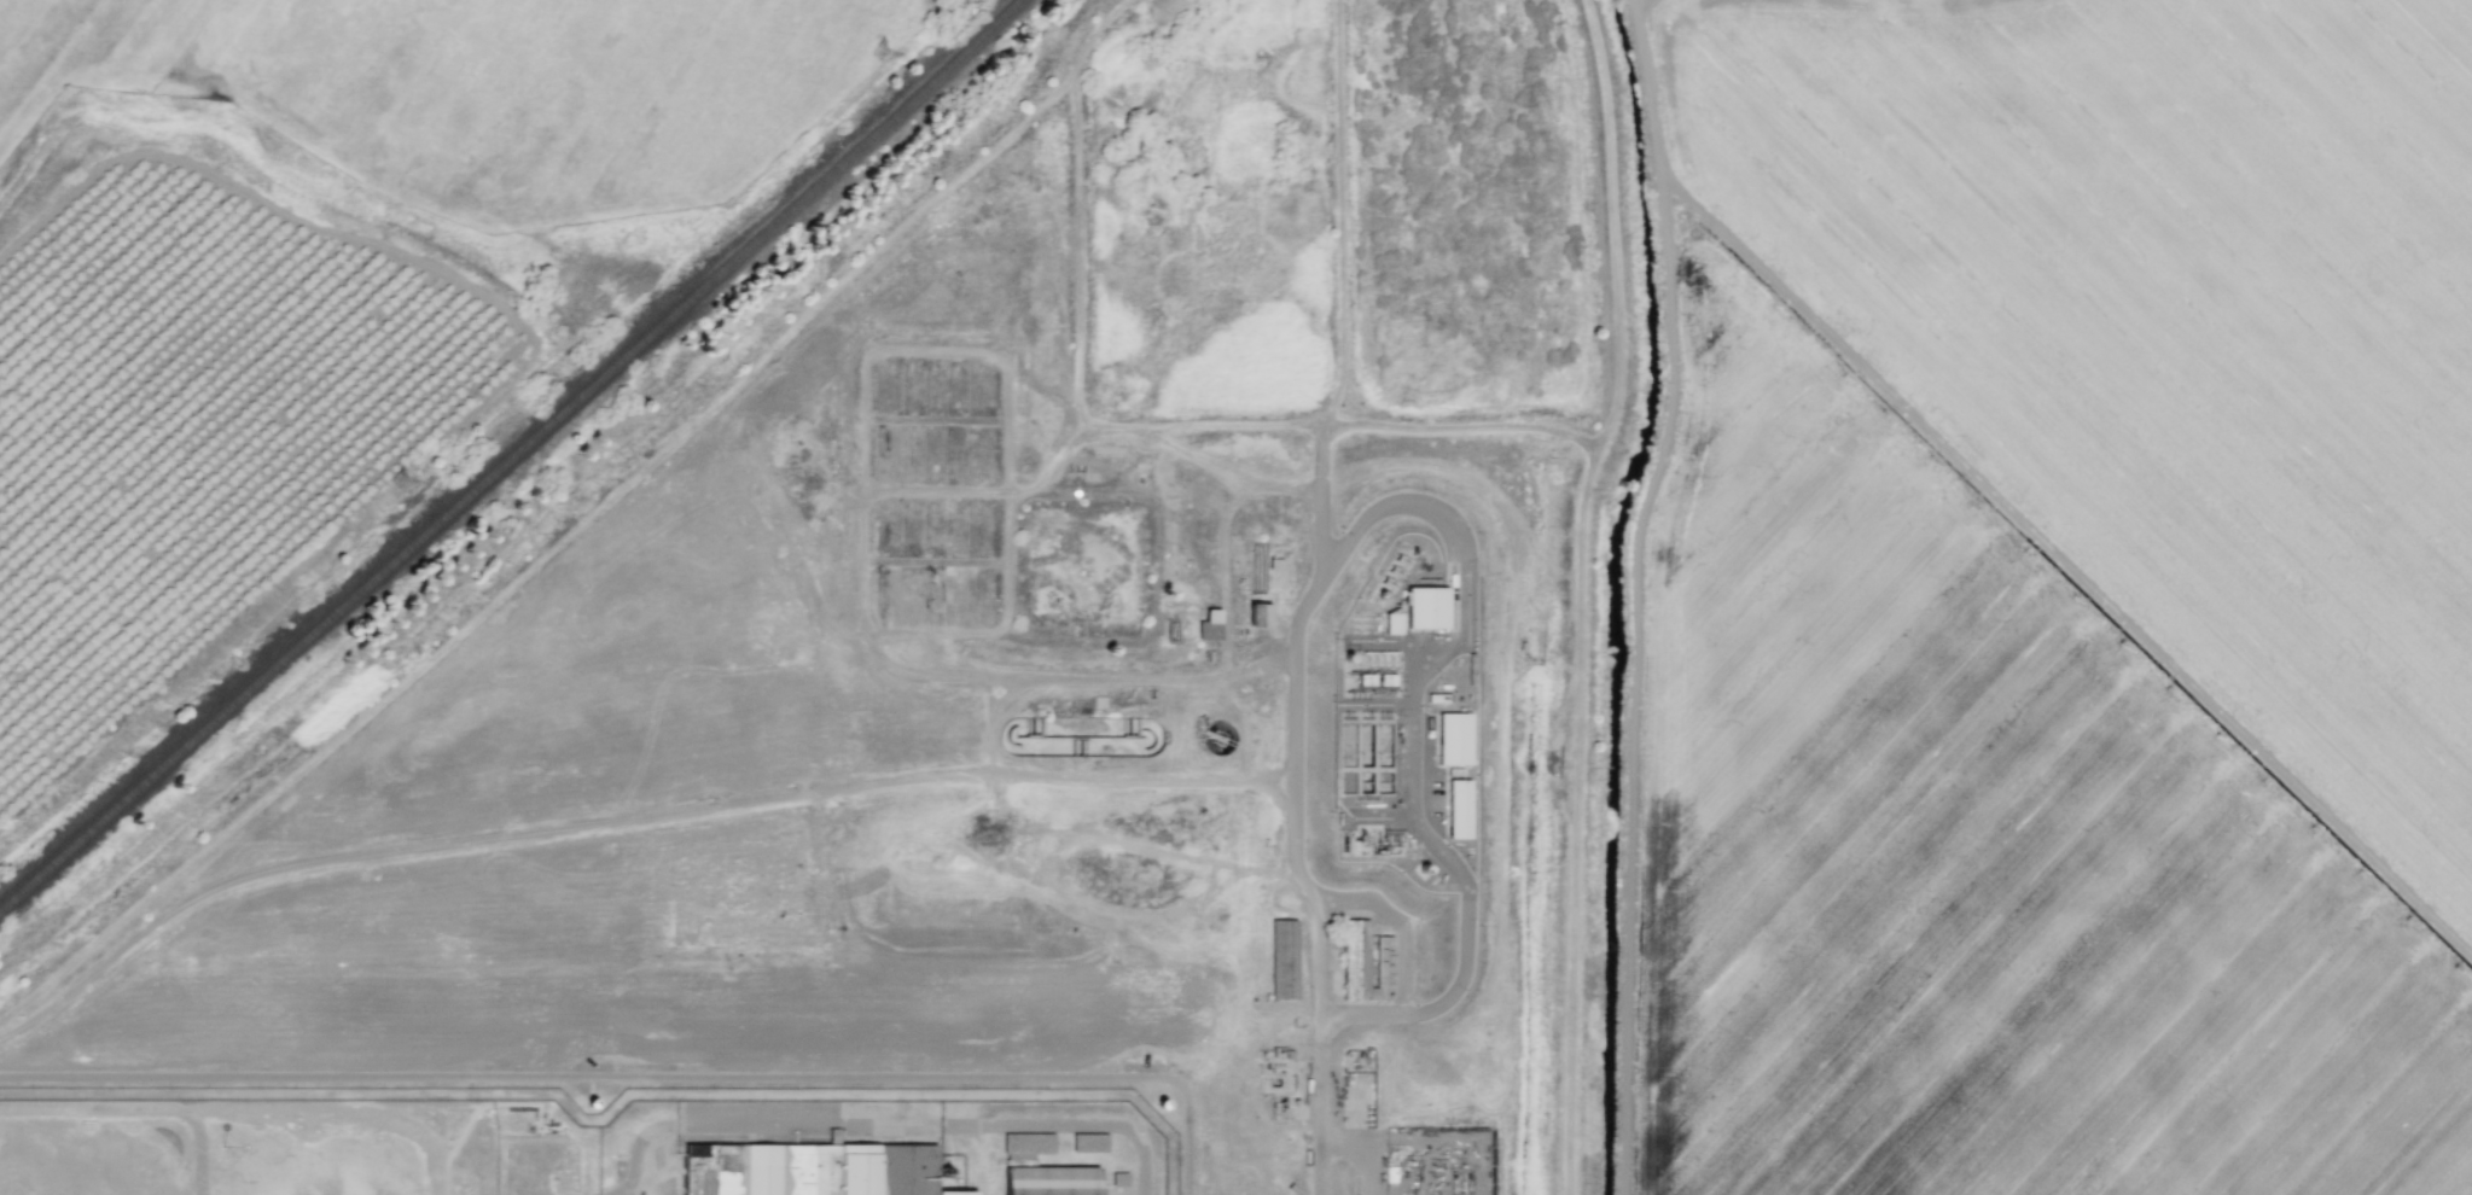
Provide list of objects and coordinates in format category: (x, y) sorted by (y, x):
power tower: (879, 52)
wastewater plant: (1442, 187)
wastewater plant: (1179, 197)
railway: (518, 464)
power tower: (396, 480)
road: (1452, 541)
wastewater plant: (1078, 566)
crop: (1235, 597)
building: (1421, 607)
building: (1261, 611)
building: (1388, 623)
building: (1209, 625)
building: (1449, 738)
building: (1454, 809)
building: (1282, 960)
building: (1365, 963)
road: (646, 1077)
road: (1318, 1106)
building: (1088, 1142)
building: (1026, 1144)
building: (1049, 1181)

